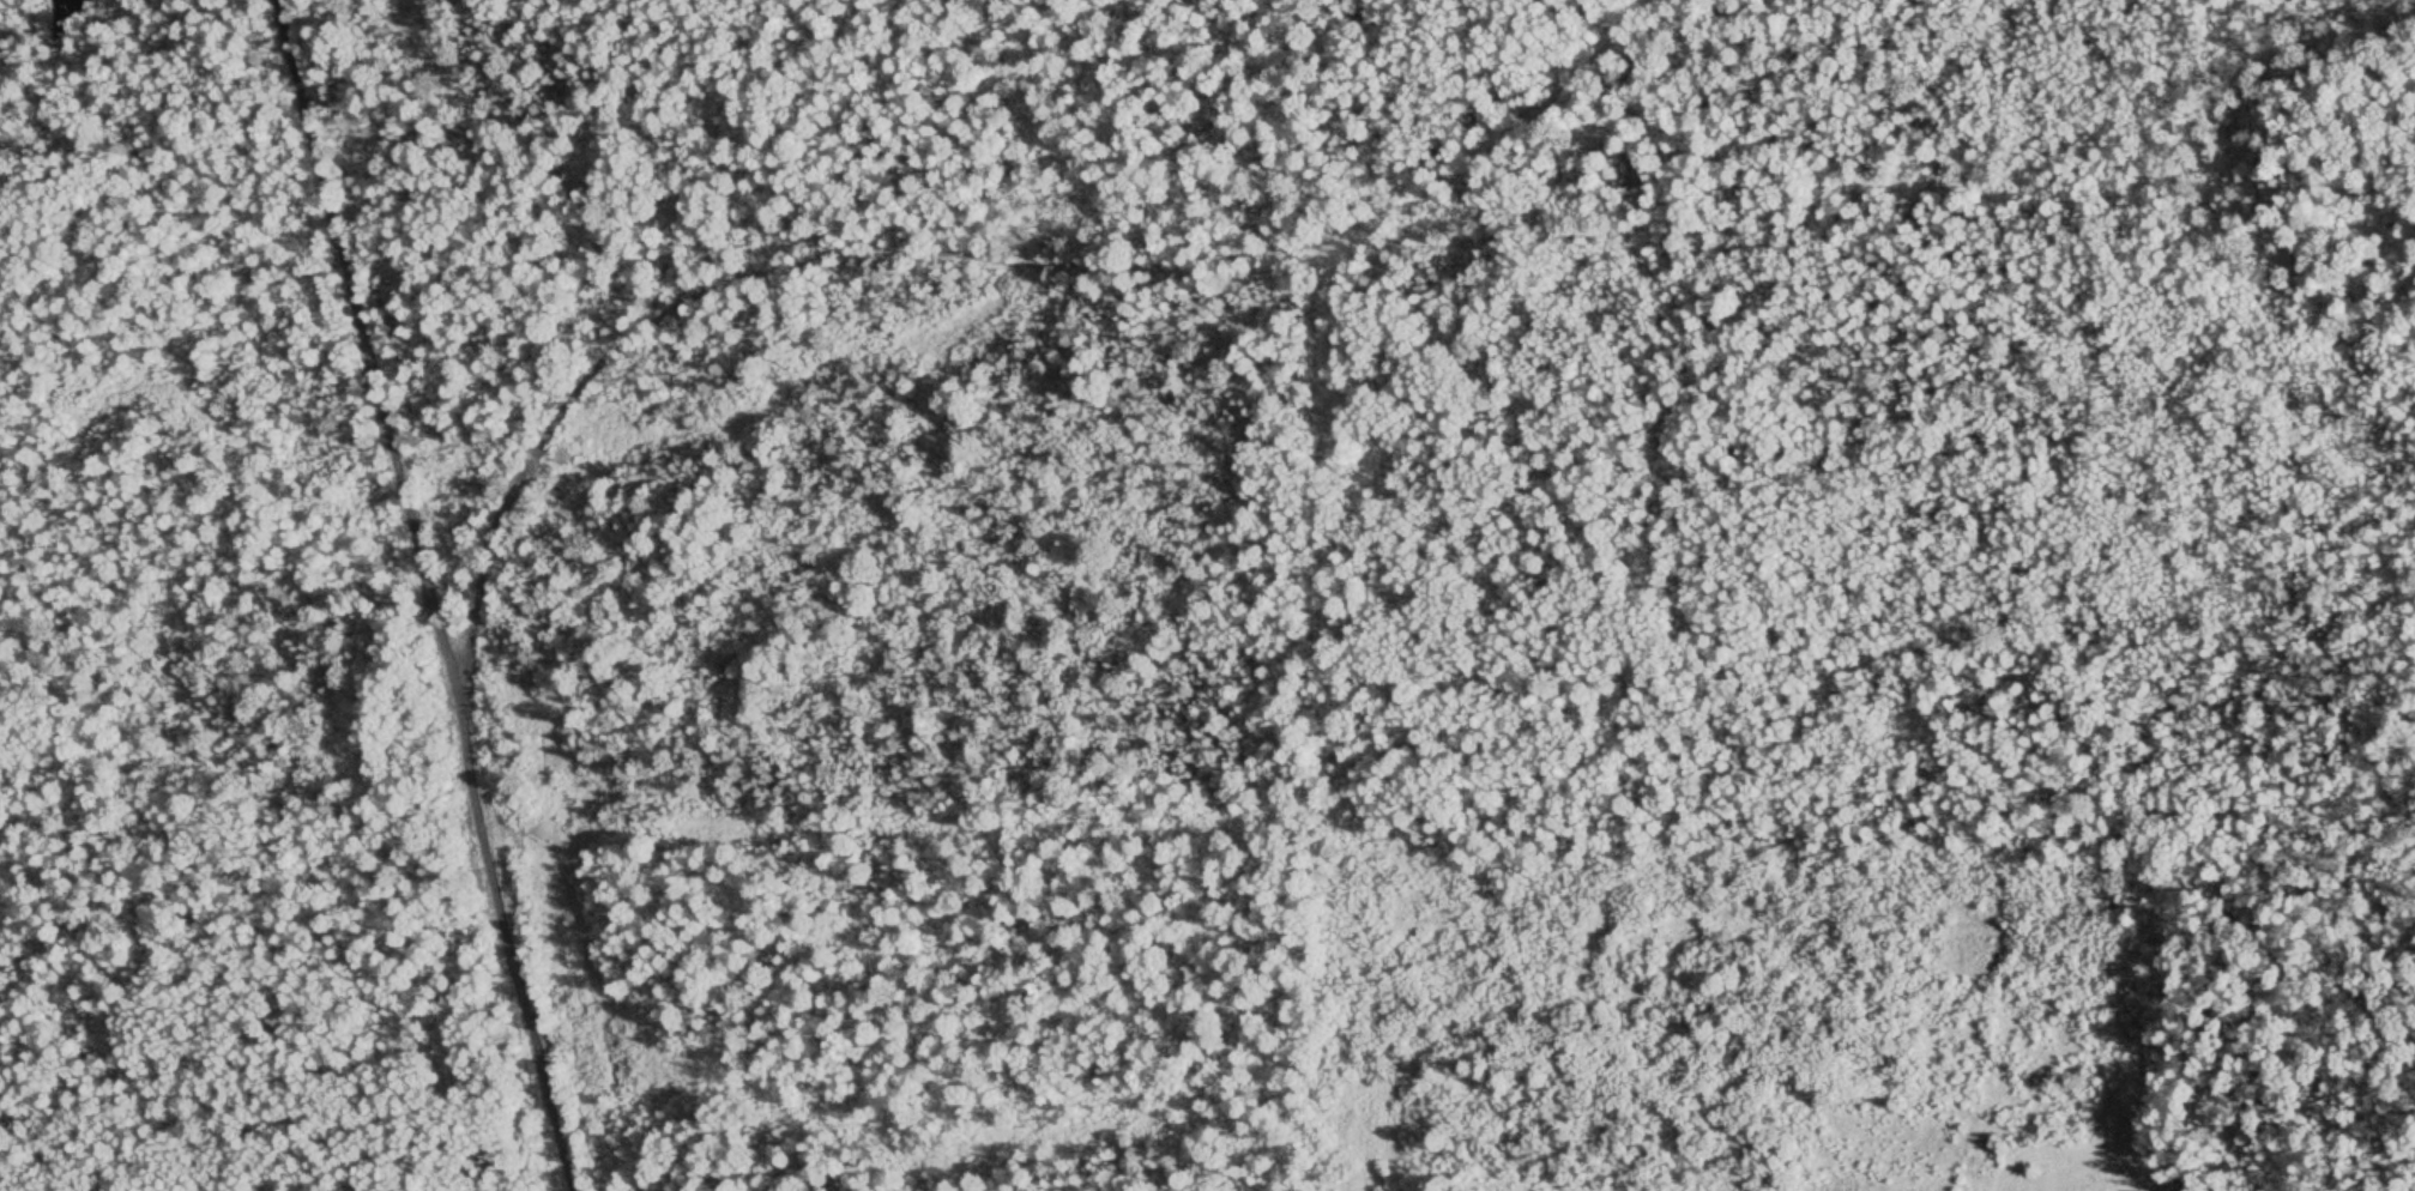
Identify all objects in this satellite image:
road: (1487, 147)
road: (749, 267)
road: (429, 594)

